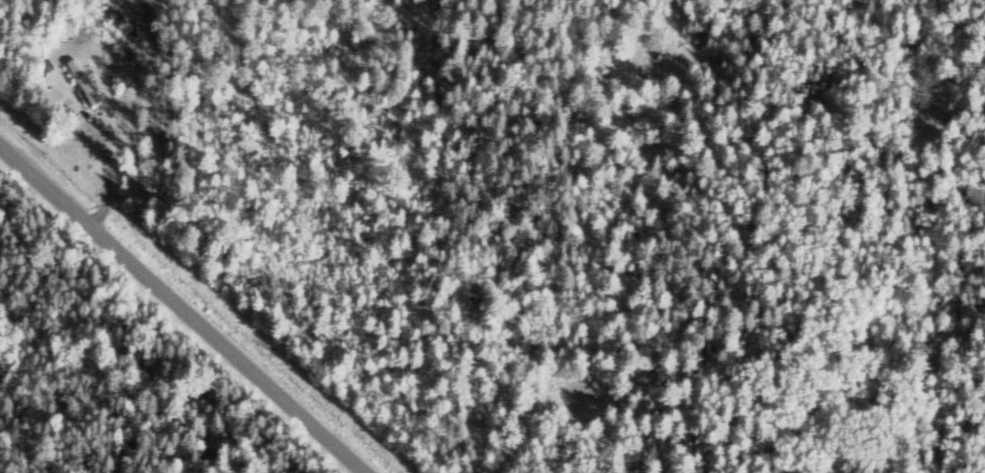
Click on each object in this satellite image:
road: (178, 312)

